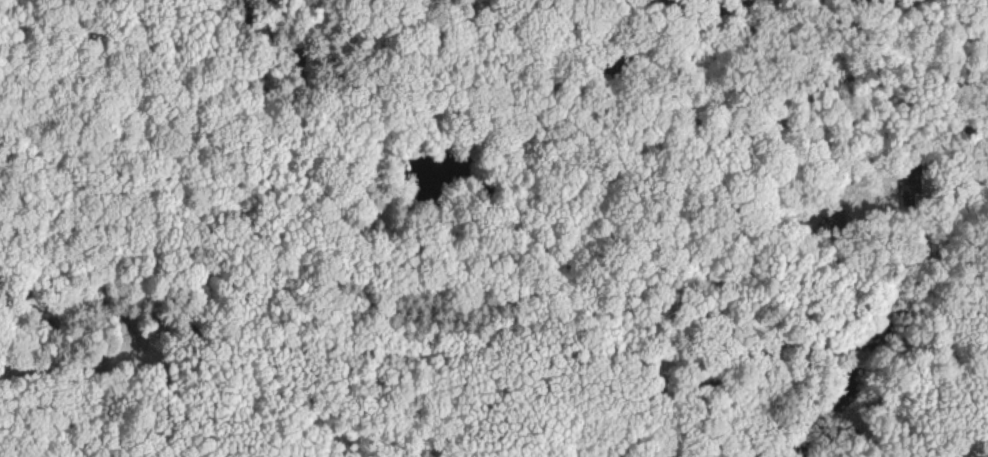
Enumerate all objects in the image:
road: (868, 5)
road: (931, 11)
road: (953, 154)
road: (400, 166)
road: (484, 339)
road: (494, 433)

